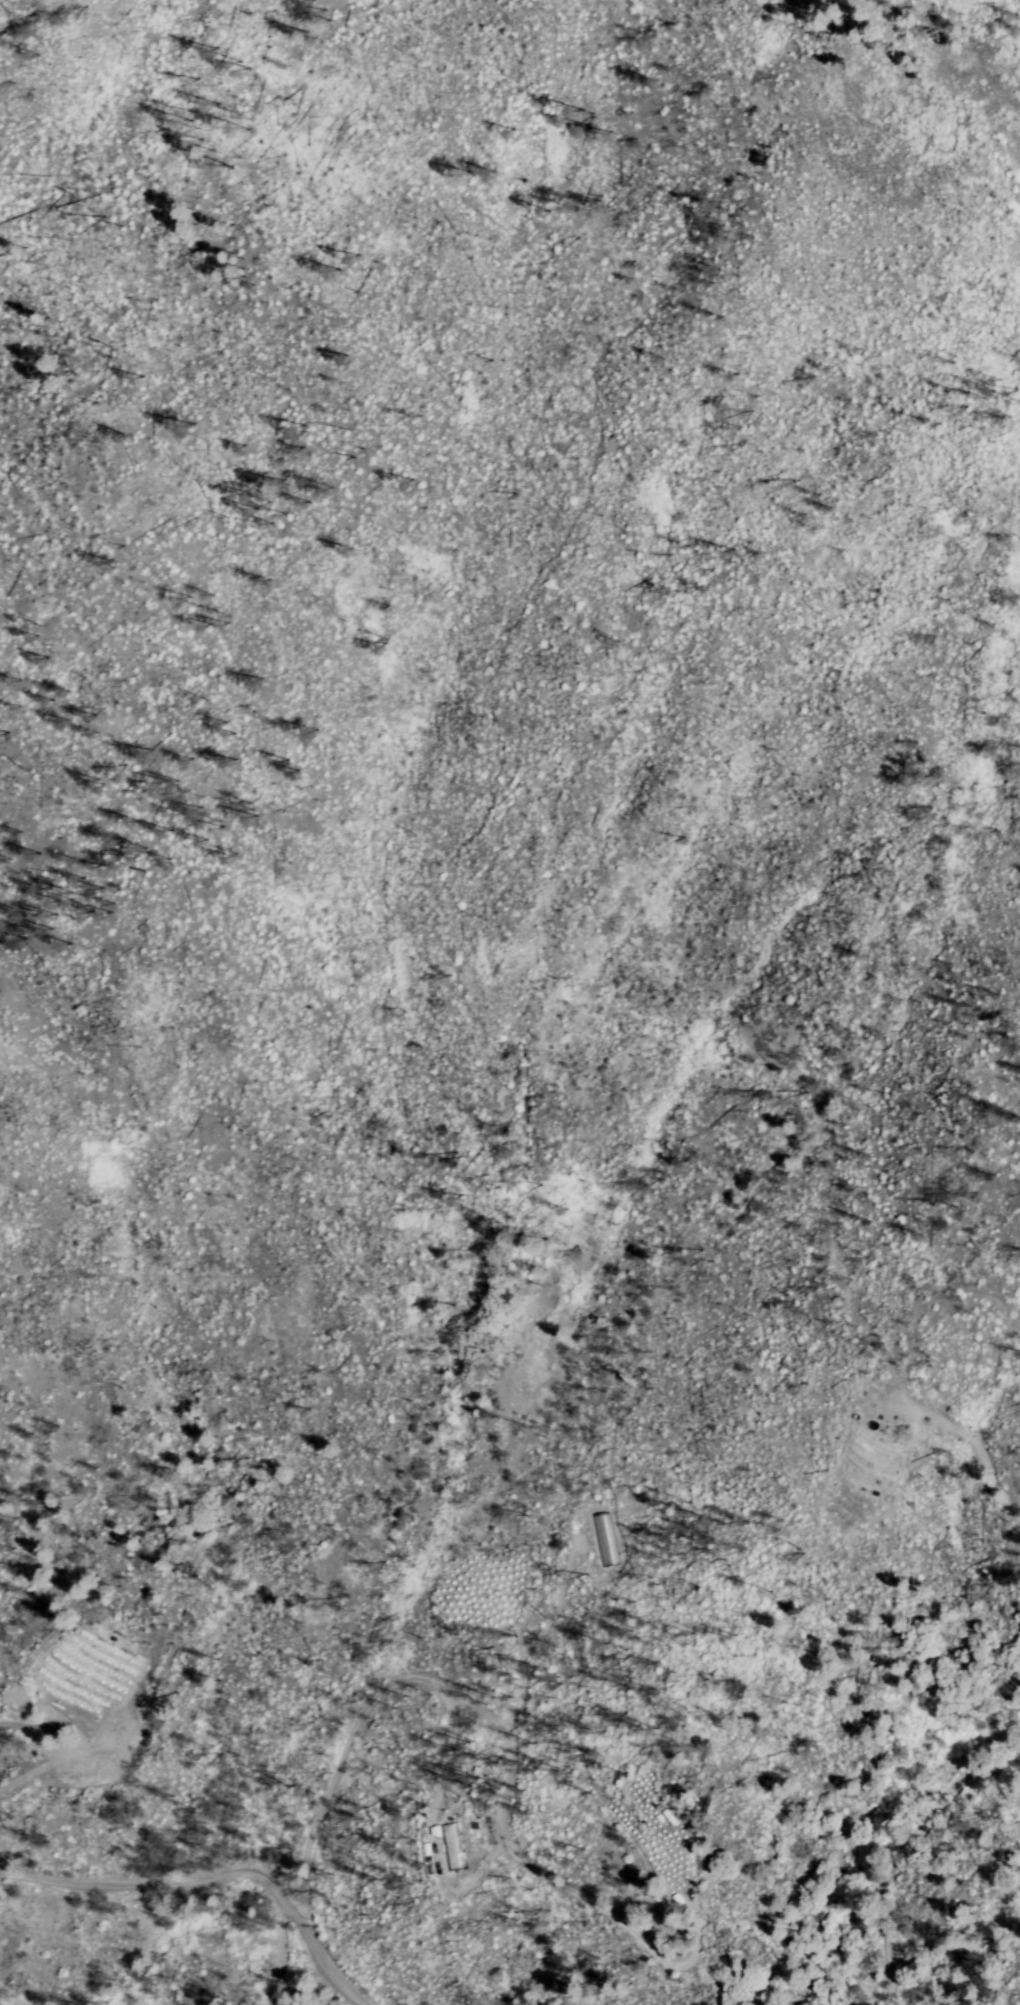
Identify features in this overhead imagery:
road: (212, 1879)

